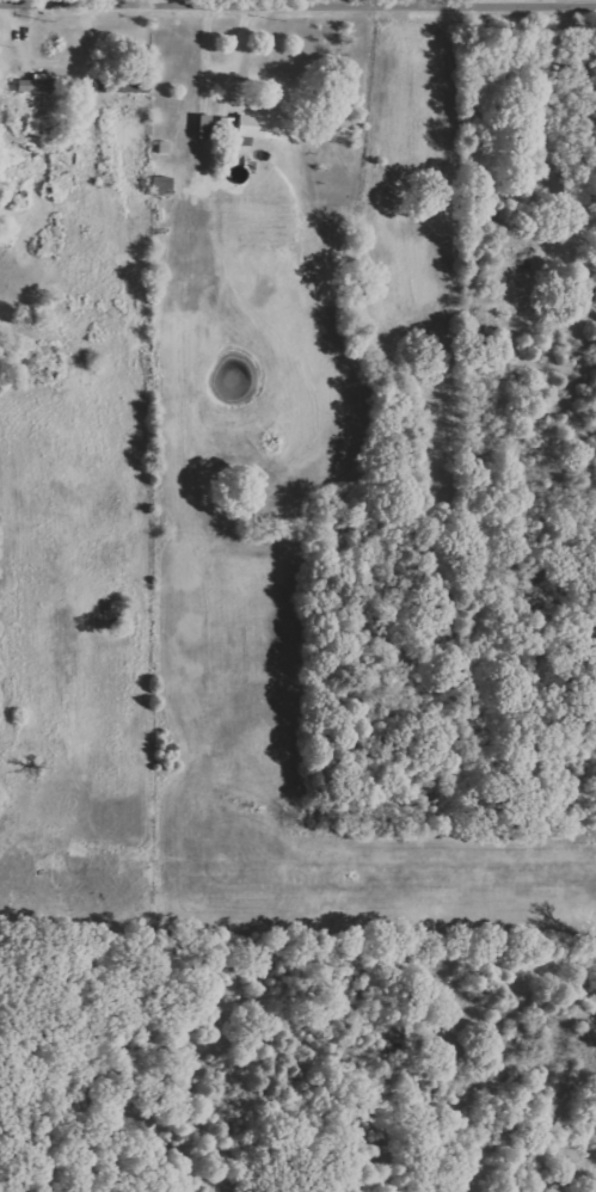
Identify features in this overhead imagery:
road: (297, 5)
building: (44, 85)
building: (122, 86)
building: (205, 127)
building: (259, 128)
building: (162, 184)

